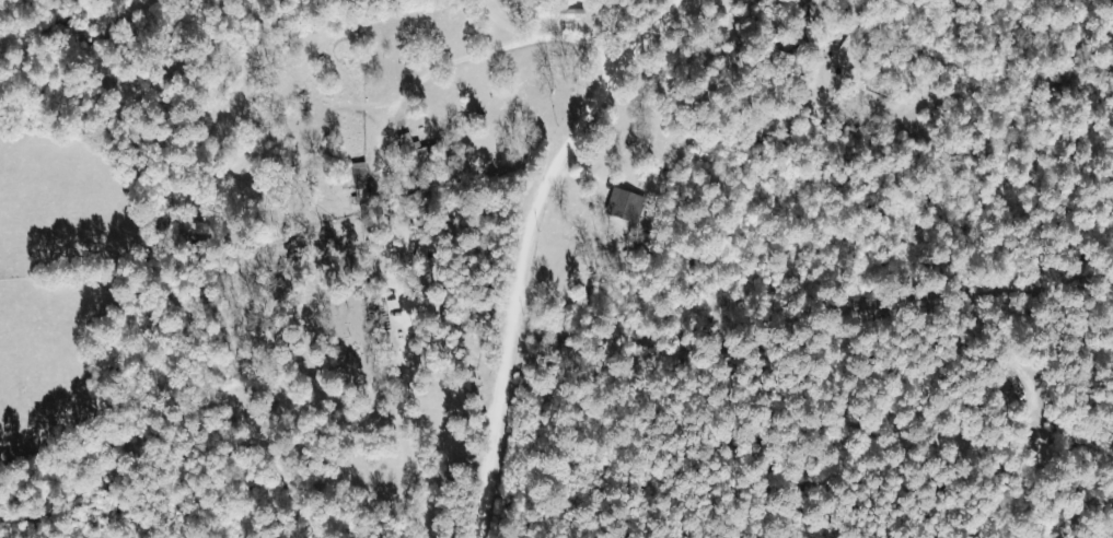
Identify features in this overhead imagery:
road: (592, 50)
building: (626, 206)
road: (547, 220)

